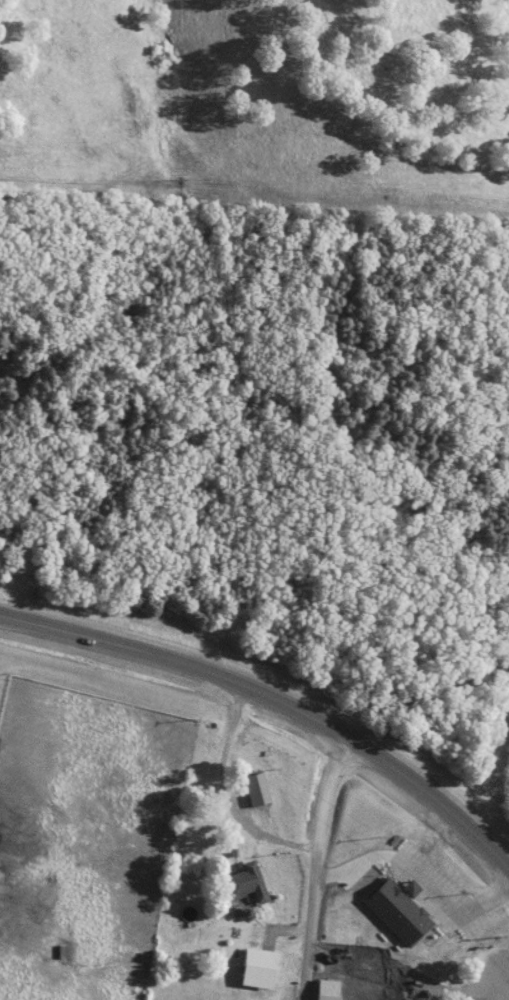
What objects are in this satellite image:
road: (276, 697)
building: (254, 791)
road: (311, 866)
building: (244, 885)
building: (403, 915)
building: (350, 922)
building: (256, 966)
building: (345, 992)
building: (507, 998)

